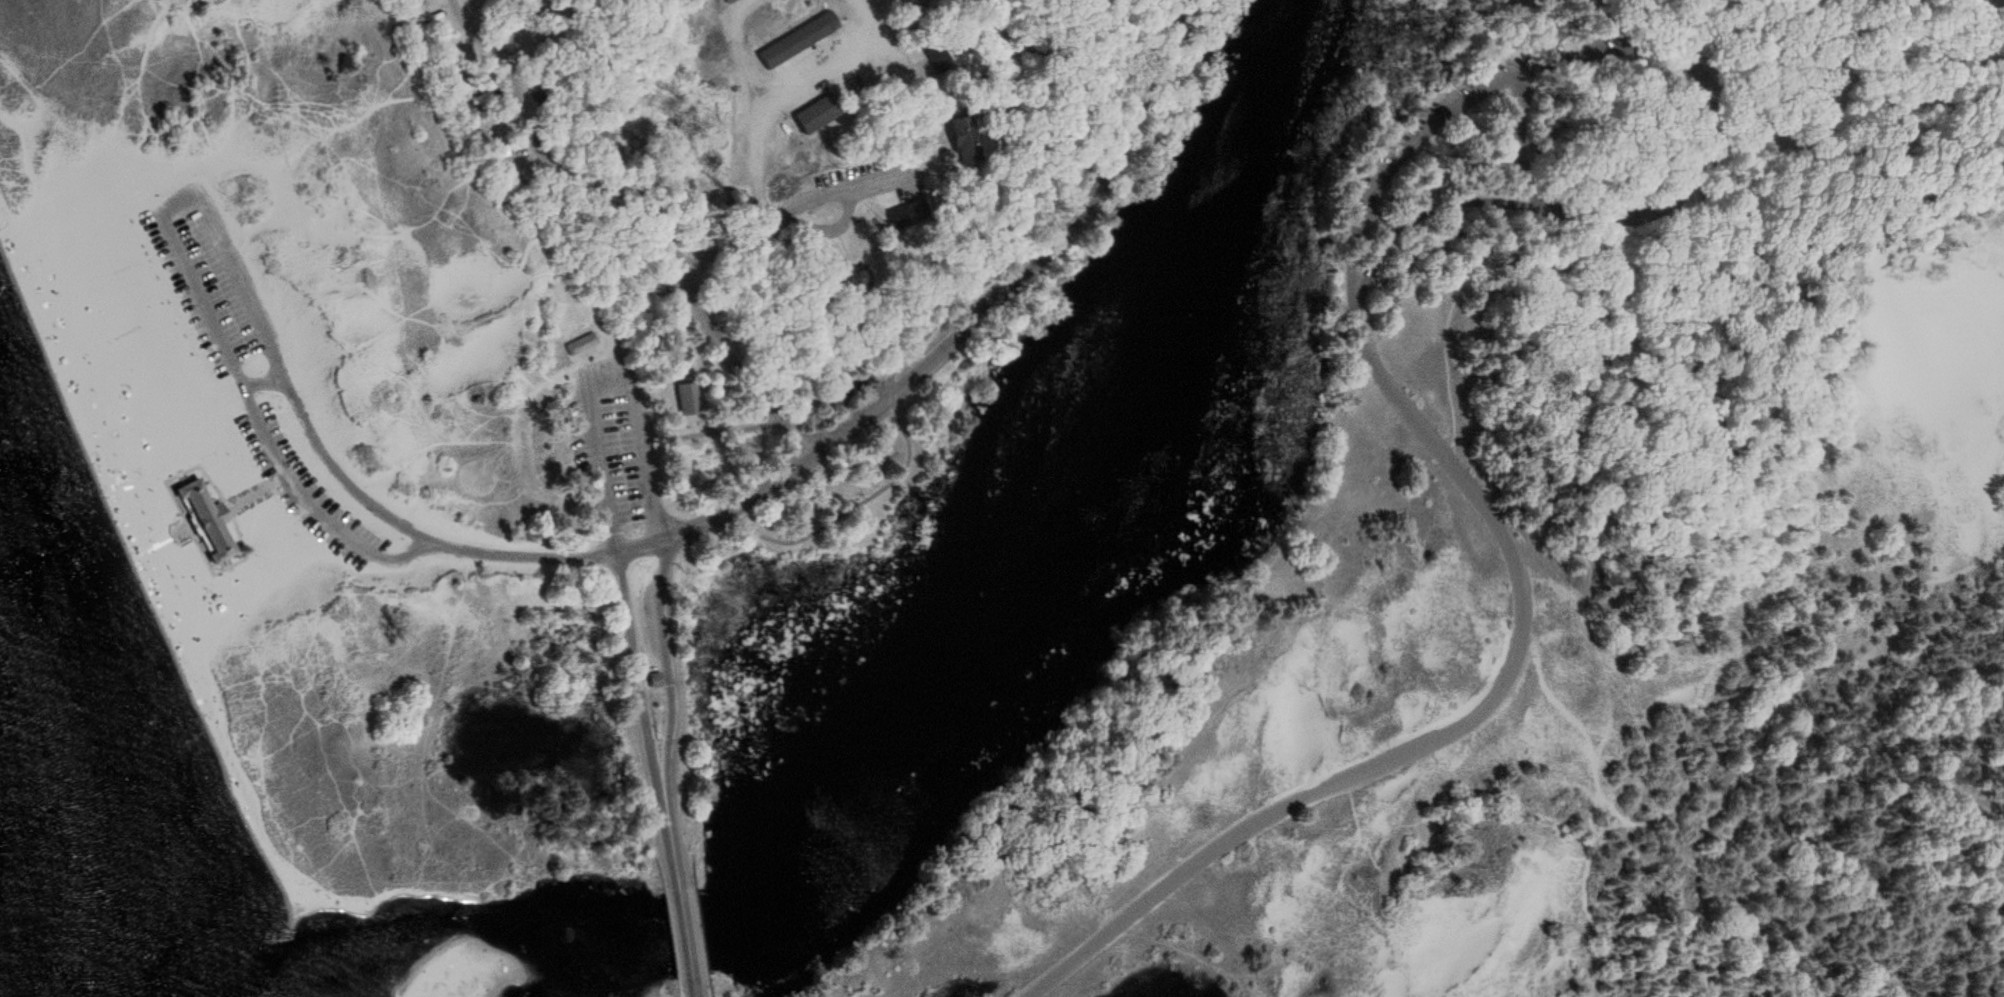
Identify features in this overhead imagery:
building: (800, 40)
road: (504, 52)
building: (820, 113)
road: (1793, 124)
road: (1770, 131)
building: (966, 140)
road: (1738, 145)
road: (1701, 170)
road: (605, 182)
road: (1434, 209)
road: (793, 210)
road: (1379, 217)
road: (1754, 240)
road: (231, 259)
parking lot: (210, 275)
road: (949, 314)
road: (979, 315)
building: (583, 343)
road: (675, 347)
road: (265, 381)
road: (755, 387)
building: (690, 398)
road: (780, 417)
road: (638, 425)
road: (595, 434)
parking lot: (618, 439)
parking lot: (301, 481)
park: (1029, 488)
building: (204, 519)
road: (614, 531)
road: (1689, 550)
road: (1527, 594)
road: (664, 657)
road: (1801, 686)
river: (914, 694)
road: (1566, 700)
road: (667, 835)
road: (1603, 929)
road: (685, 937)
road: (1860, 985)
road: (693, 990)

